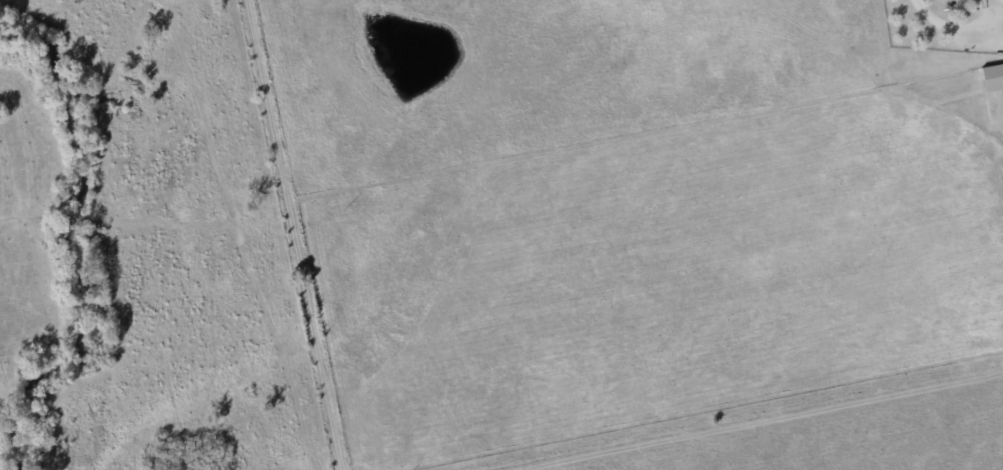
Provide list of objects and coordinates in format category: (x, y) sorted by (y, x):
building: (990, 78)
road: (296, 239)
road: (752, 424)

